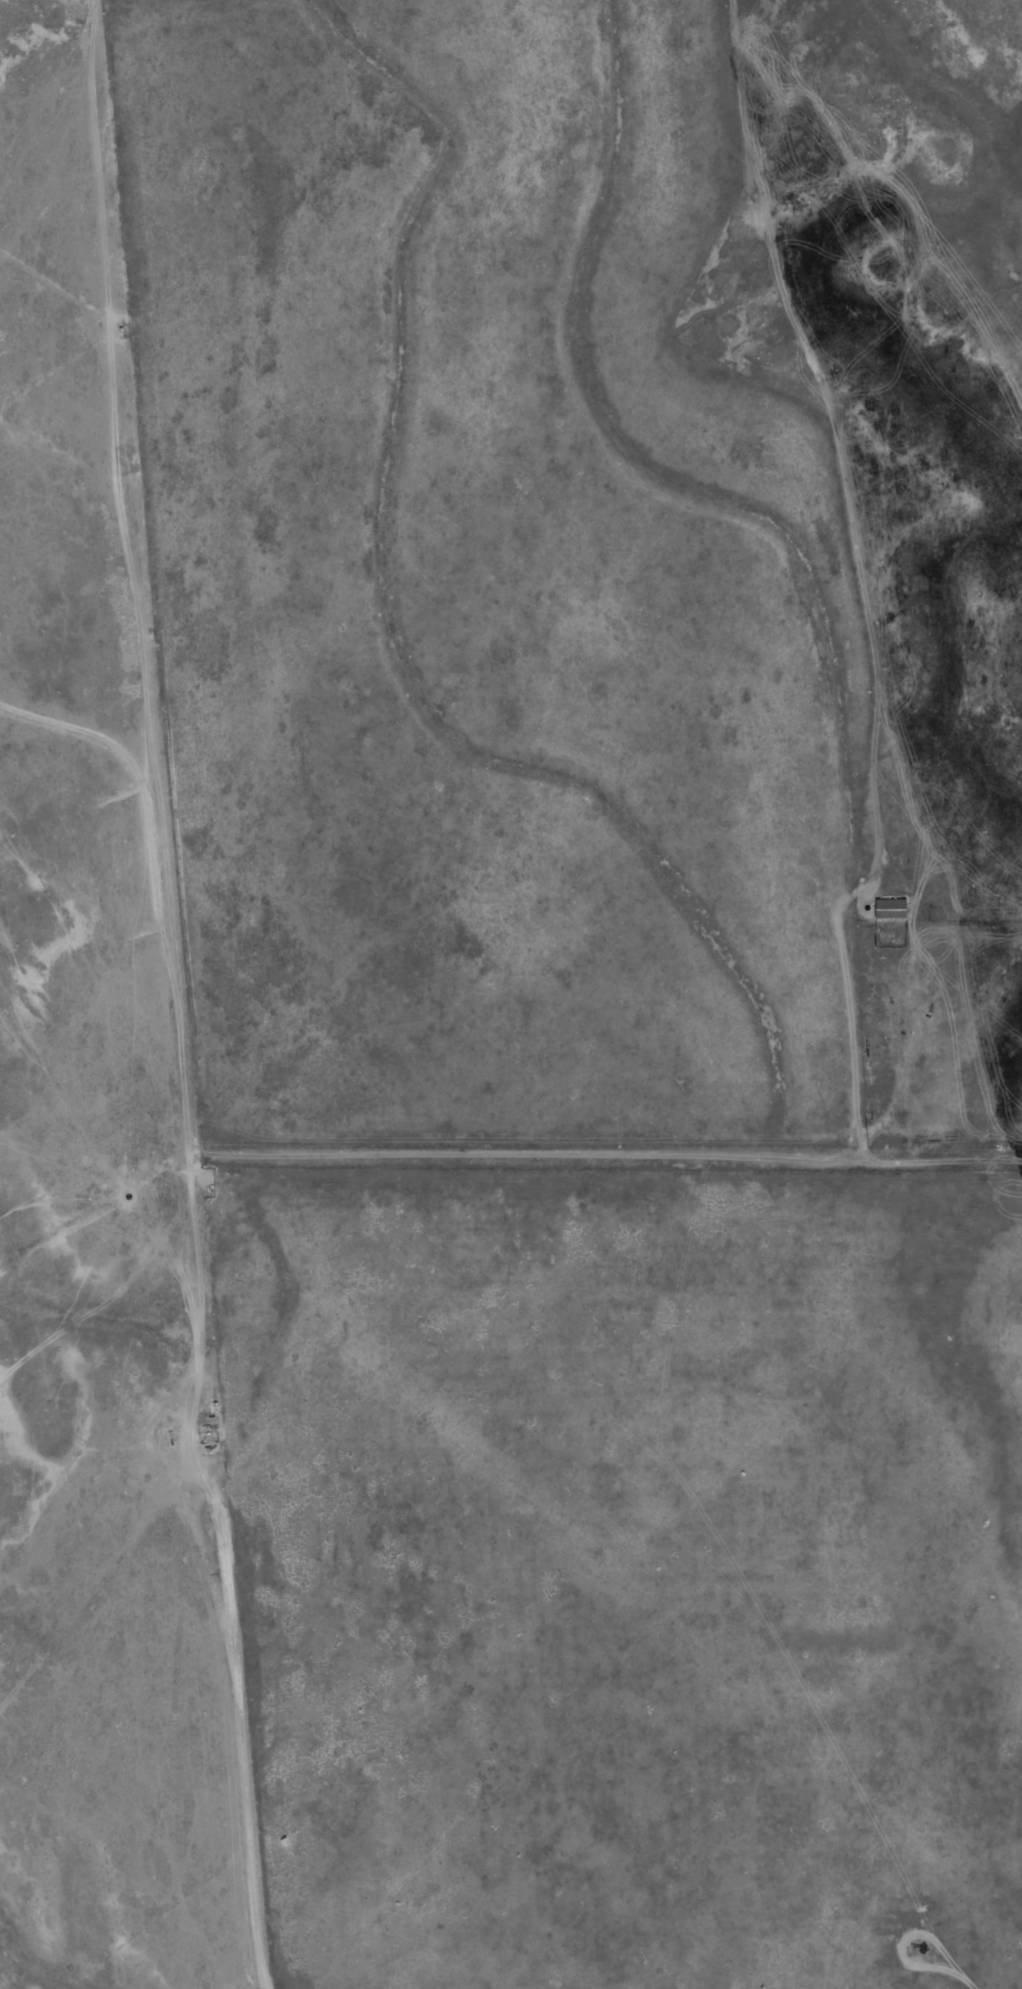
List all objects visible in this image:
building: (895, 908)

